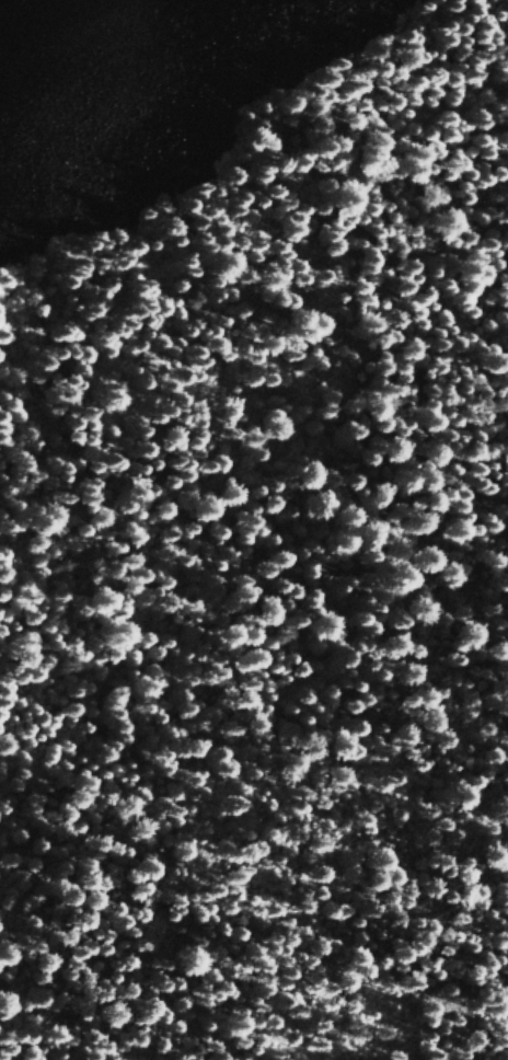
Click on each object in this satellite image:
road: (291, 124)

